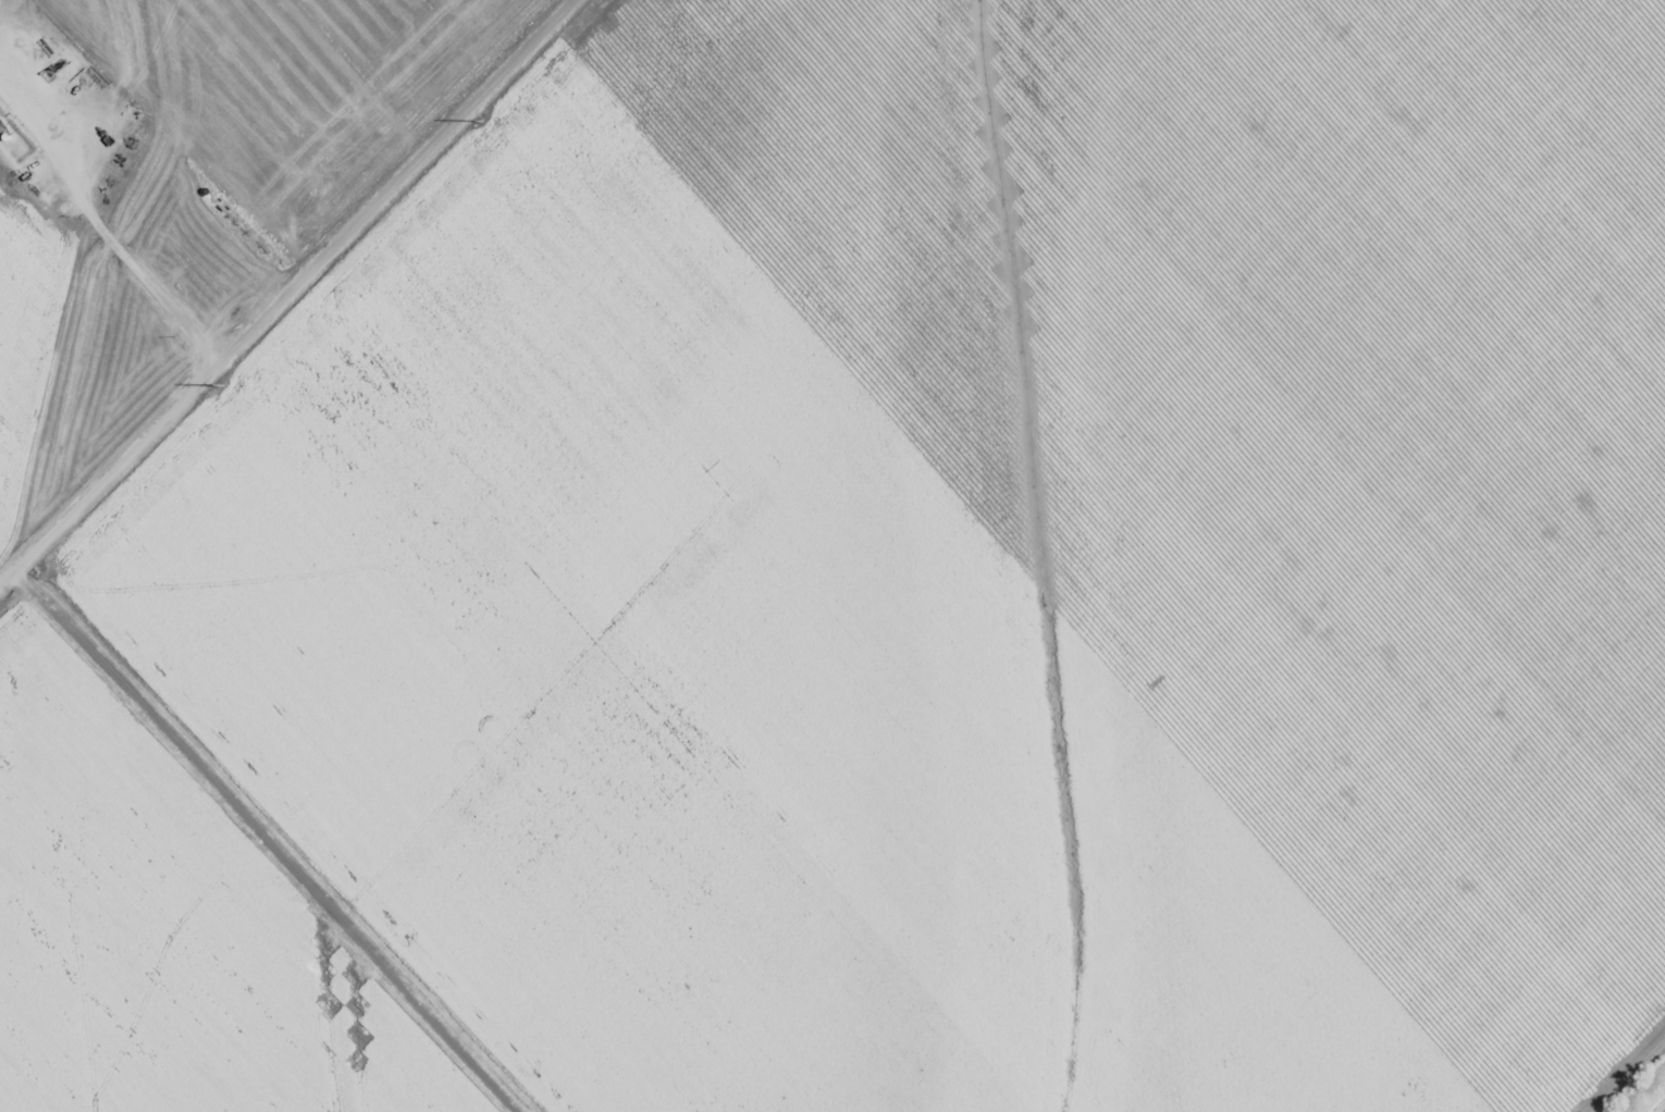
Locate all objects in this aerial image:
power tower: (484, 122)
road: (286, 295)
power tower: (224, 385)

